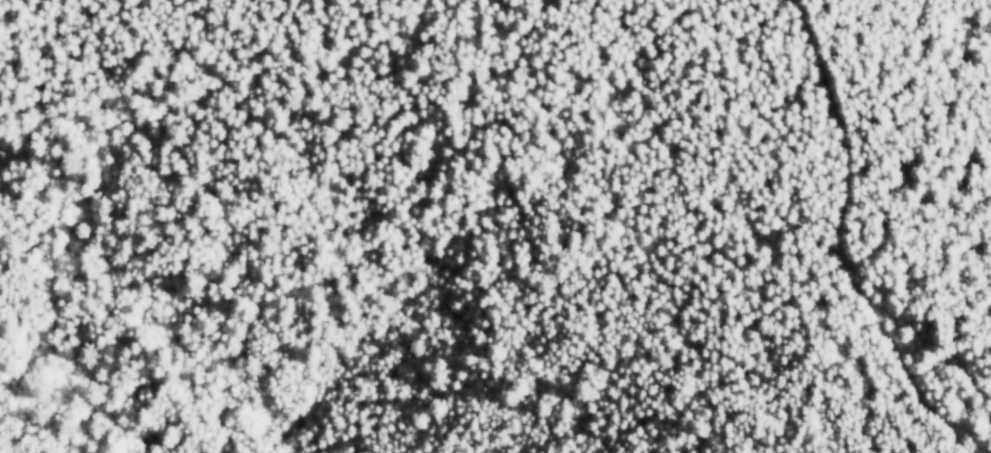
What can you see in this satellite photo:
road: (851, 238)

